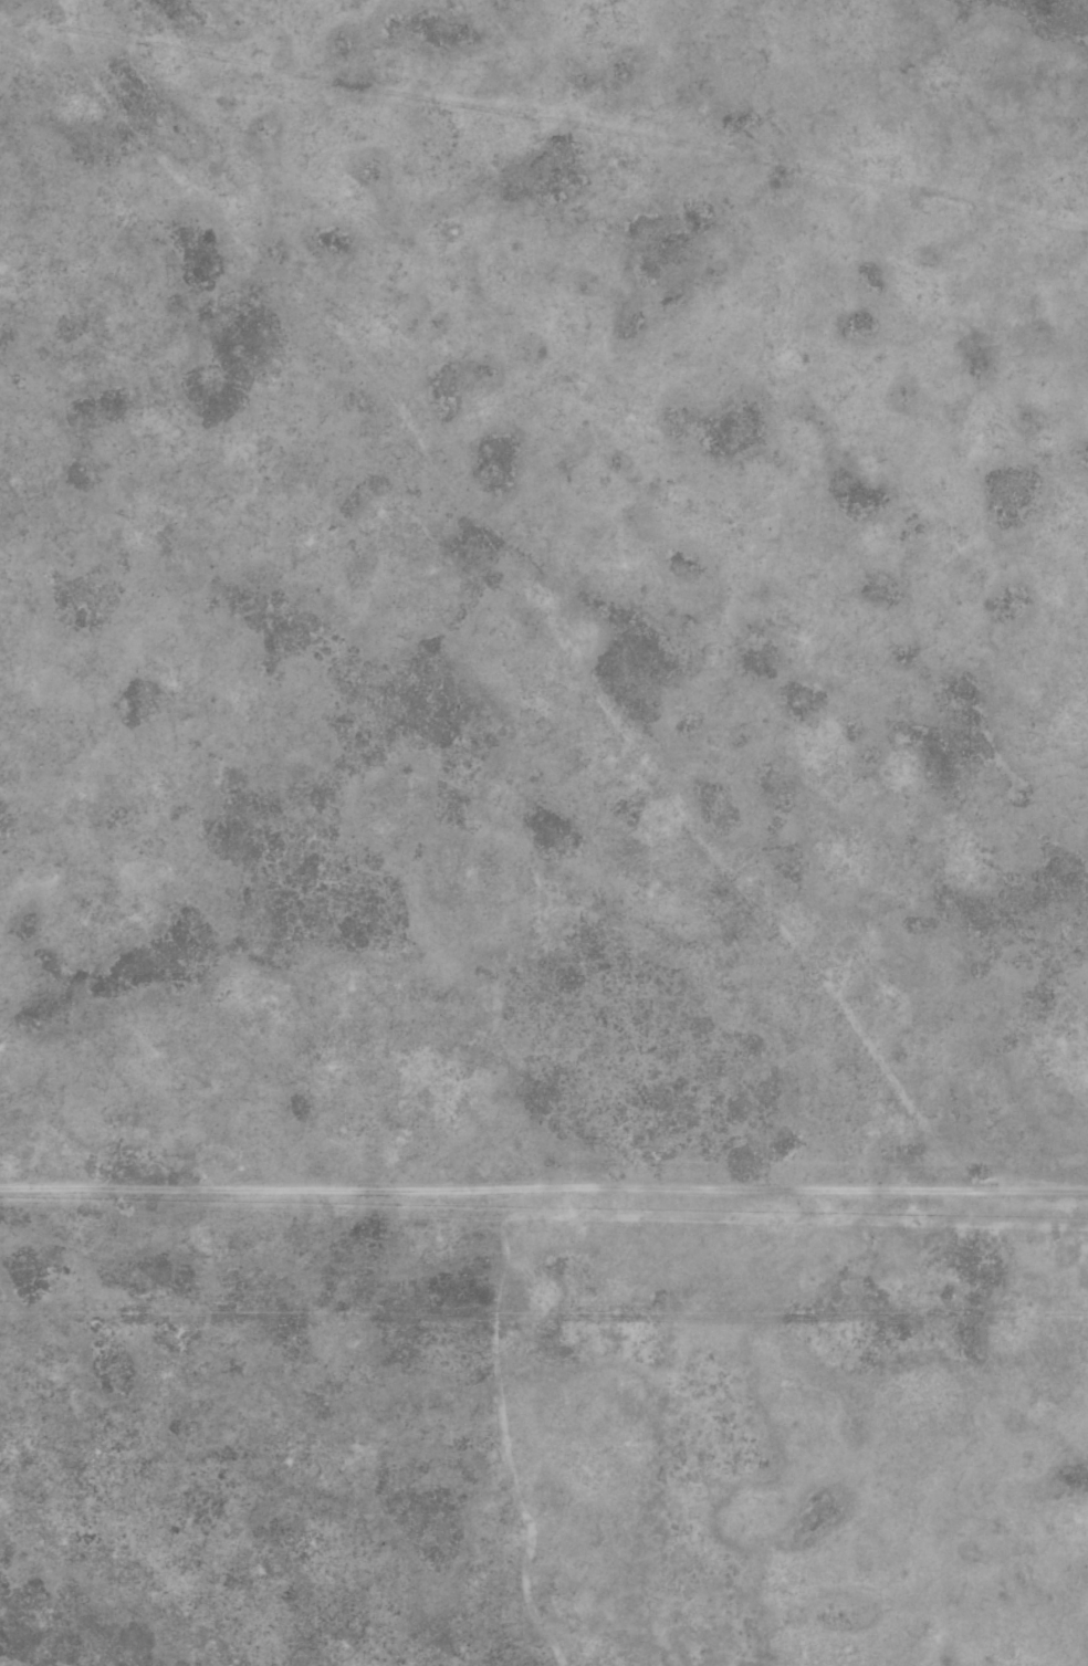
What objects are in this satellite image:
road: (544, 1112)

